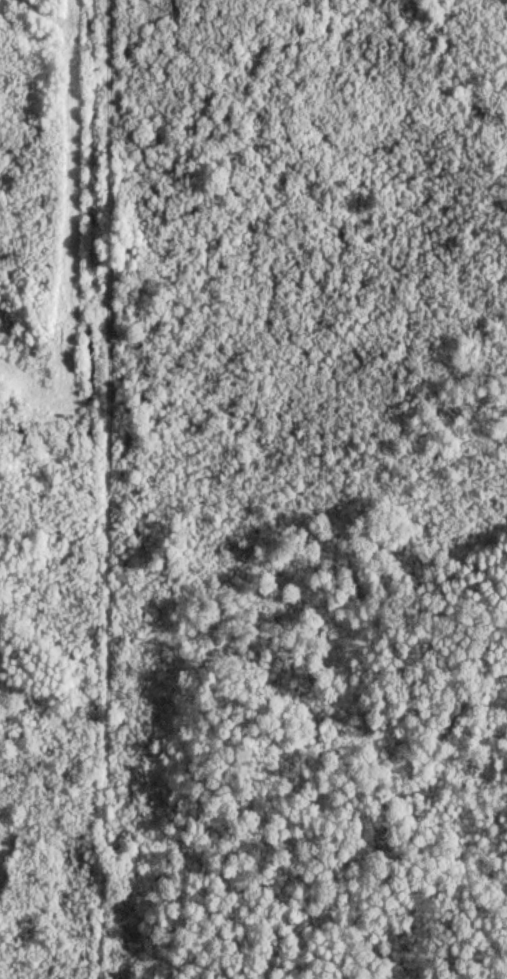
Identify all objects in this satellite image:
road: (105, 489)

